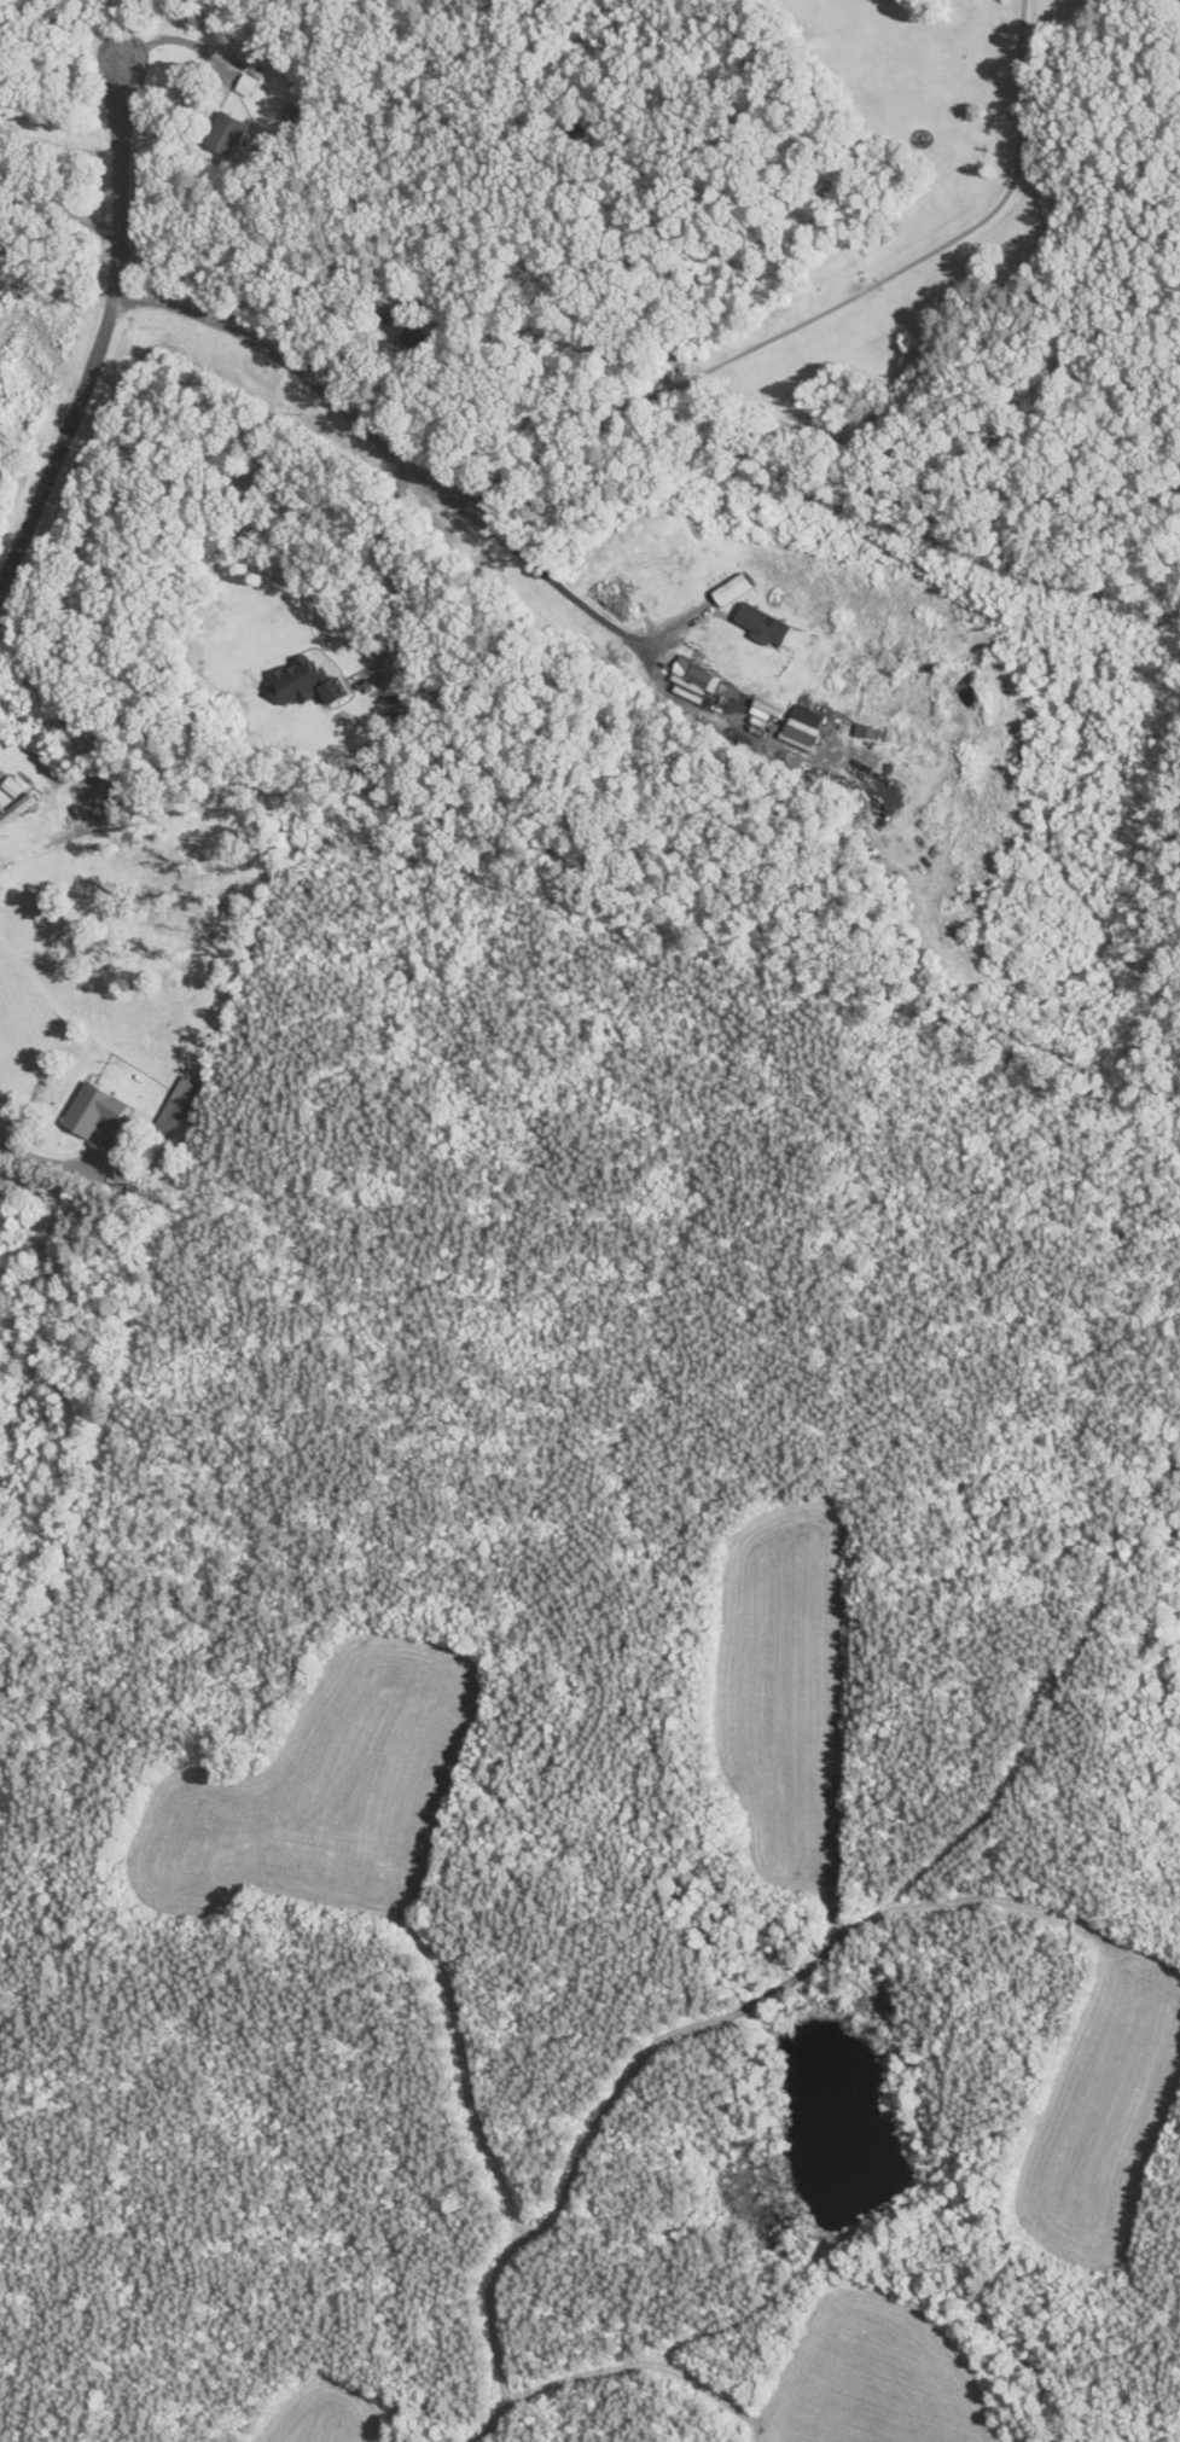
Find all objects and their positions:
building: (248, 83)
building: (225, 136)
road: (56, 210)
road: (826, 309)
road: (104, 326)
building: (406, 331)
building: (1006, 440)
road: (391, 448)
road: (395, 568)
building: (723, 595)
building: (762, 626)
building: (691, 675)
building: (303, 685)
building: (804, 721)
building: (866, 732)
building: (52, 803)
building: (16, 809)
building: (179, 1104)
building: (95, 1116)
road: (50, 1159)

